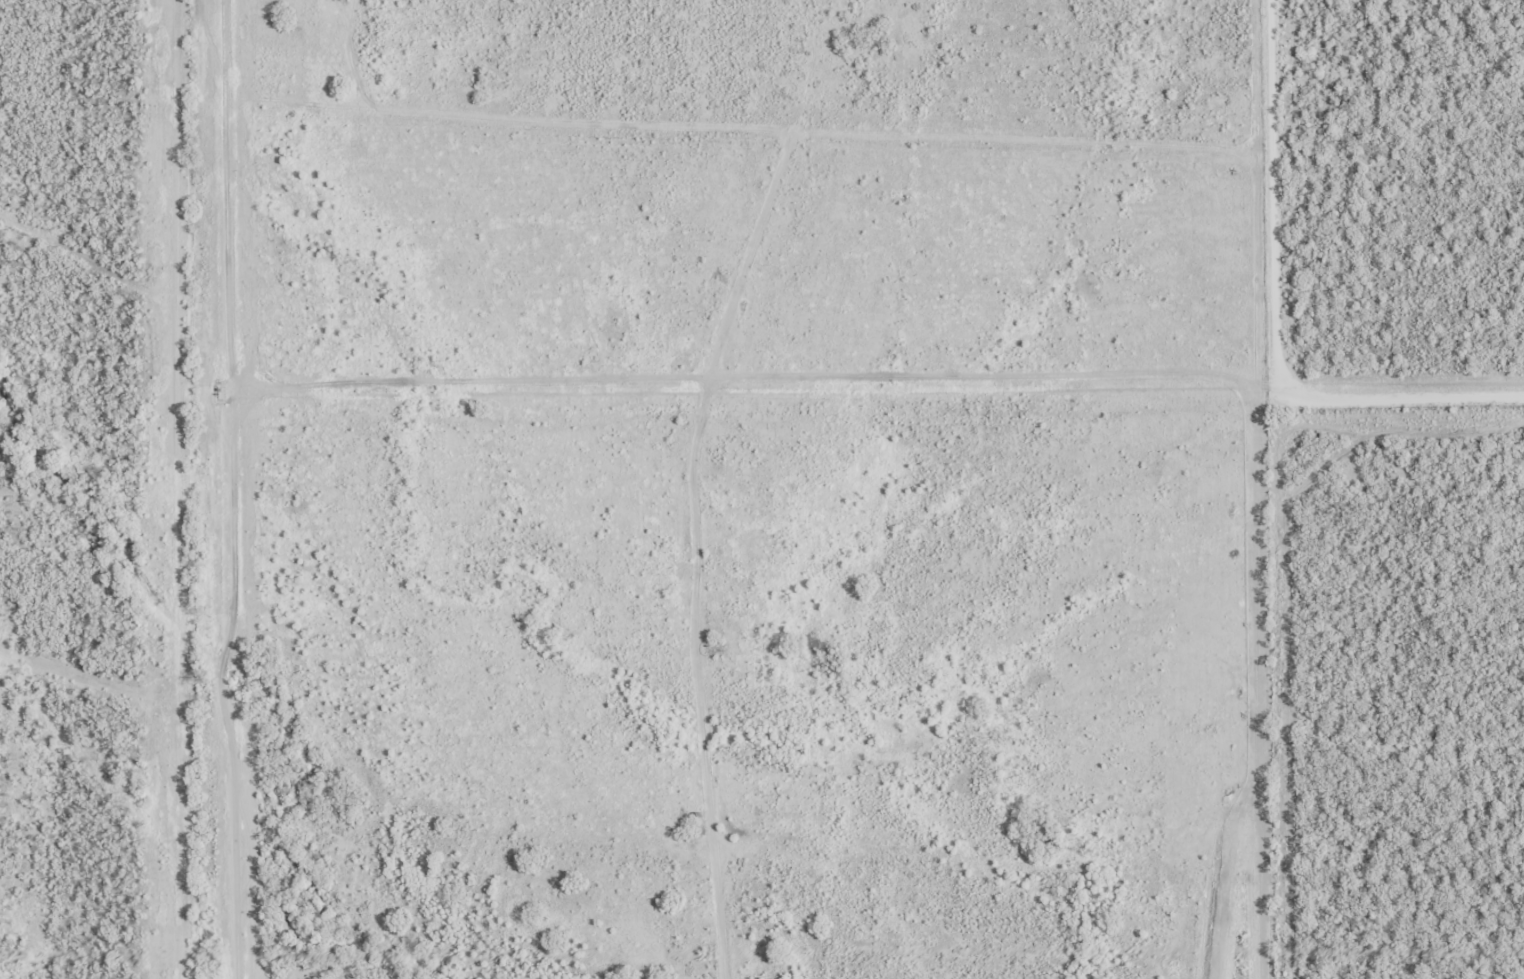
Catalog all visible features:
road: (1281, 316)

